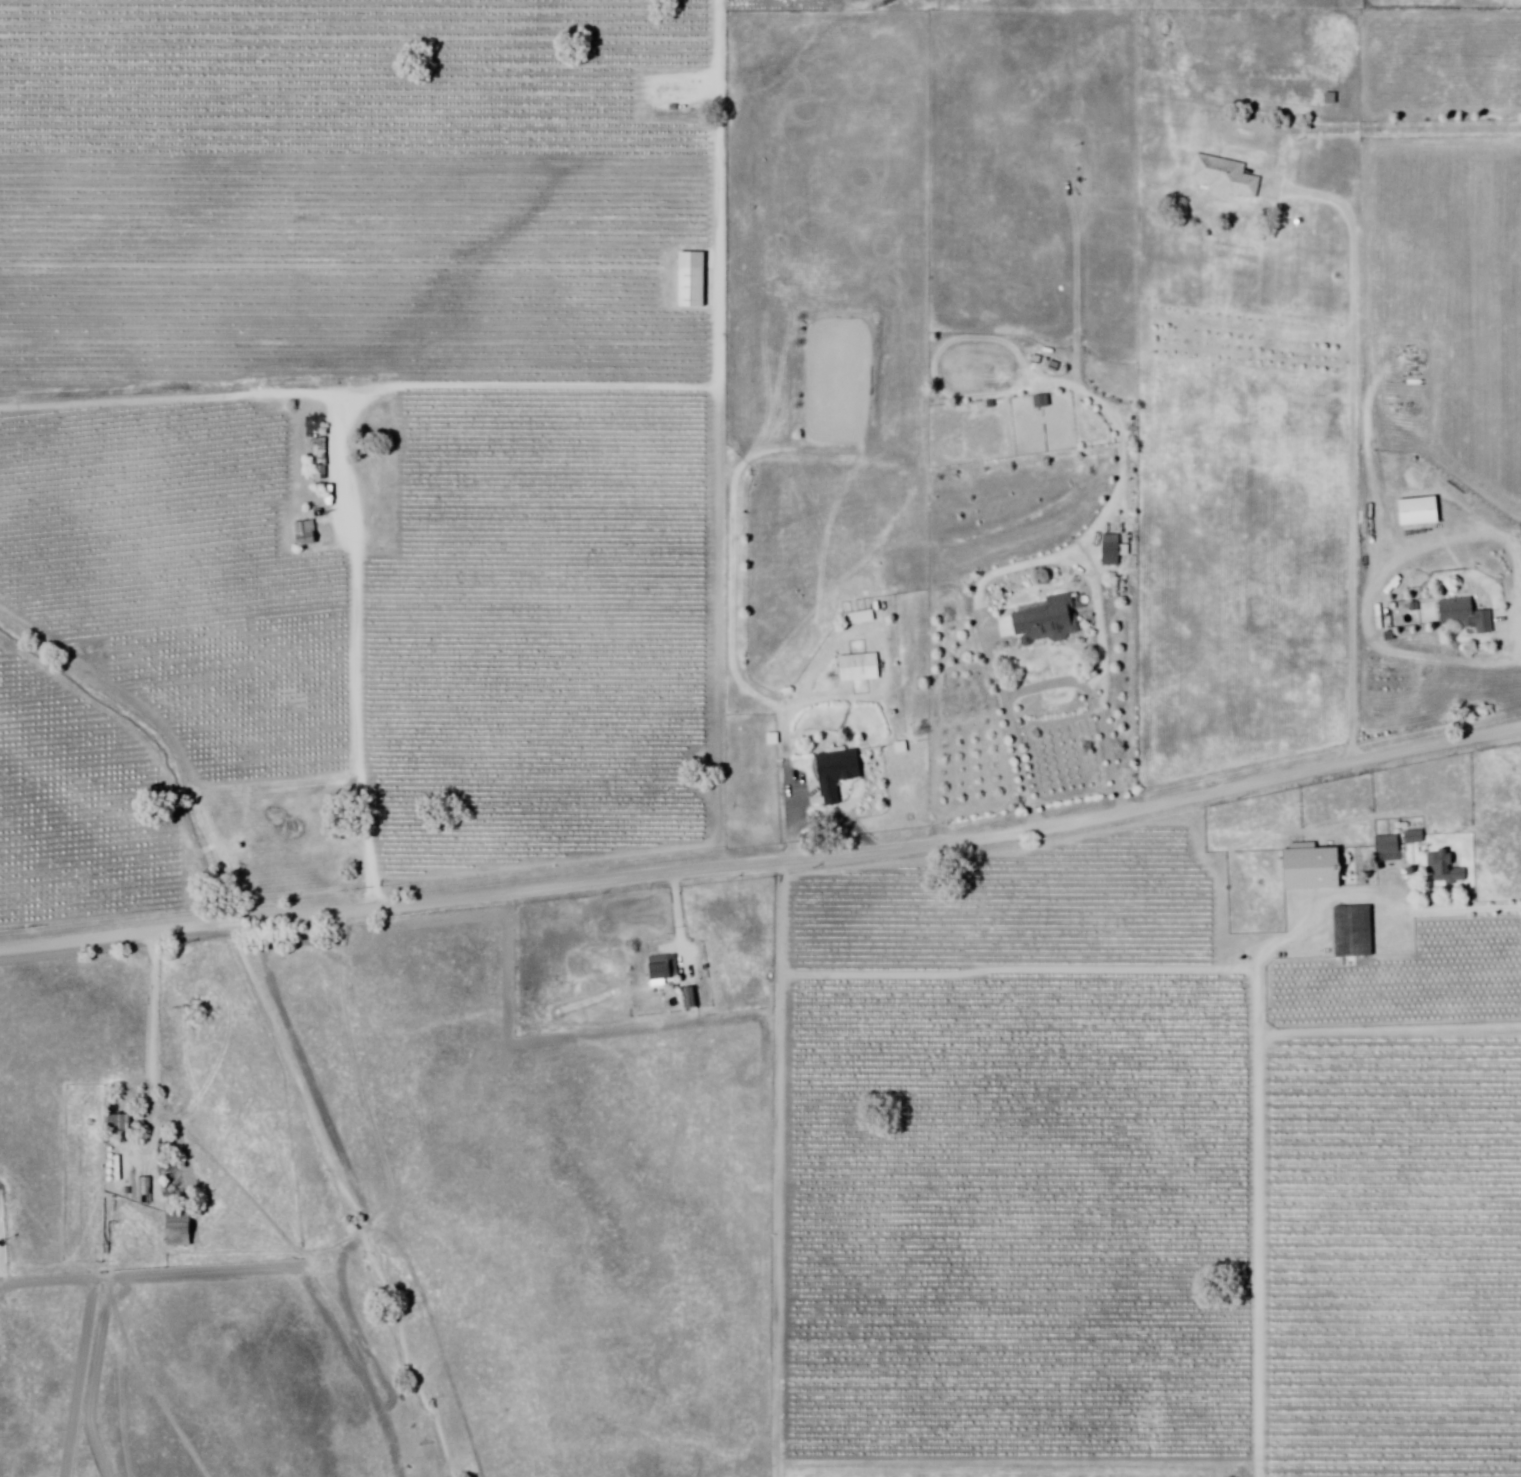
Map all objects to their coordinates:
building: (1332, 99)
building: (1228, 177)
building: (692, 281)
building: (1042, 402)
building: (992, 406)
road: (1354, 446)
building: (321, 464)
road: (336, 495)
building: (1416, 513)
building: (306, 532)
building: (1114, 550)
building: (1415, 604)
building: (1466, 615)
building: (860, 617)
building: (1045, 622)
building: (1389, 633)
road: (1514, 642)
building: (860, 667)
road: (1047, 685)
building: (773, 739)
building: (903, 748)
building: (835, 777)
road: (791, 783)
building: (1389, 845)
road: (764, 862)
building: (1311, 869)
building: (1446, 869)
road: (680, 917)
building: (1354, 933)
building: (665, 969)
building: (692, 998)
road: (157, 1017)
road: (1251, 1063)
building: (118, 1124)
building: (146, 1191)
building: (180, 1228)

